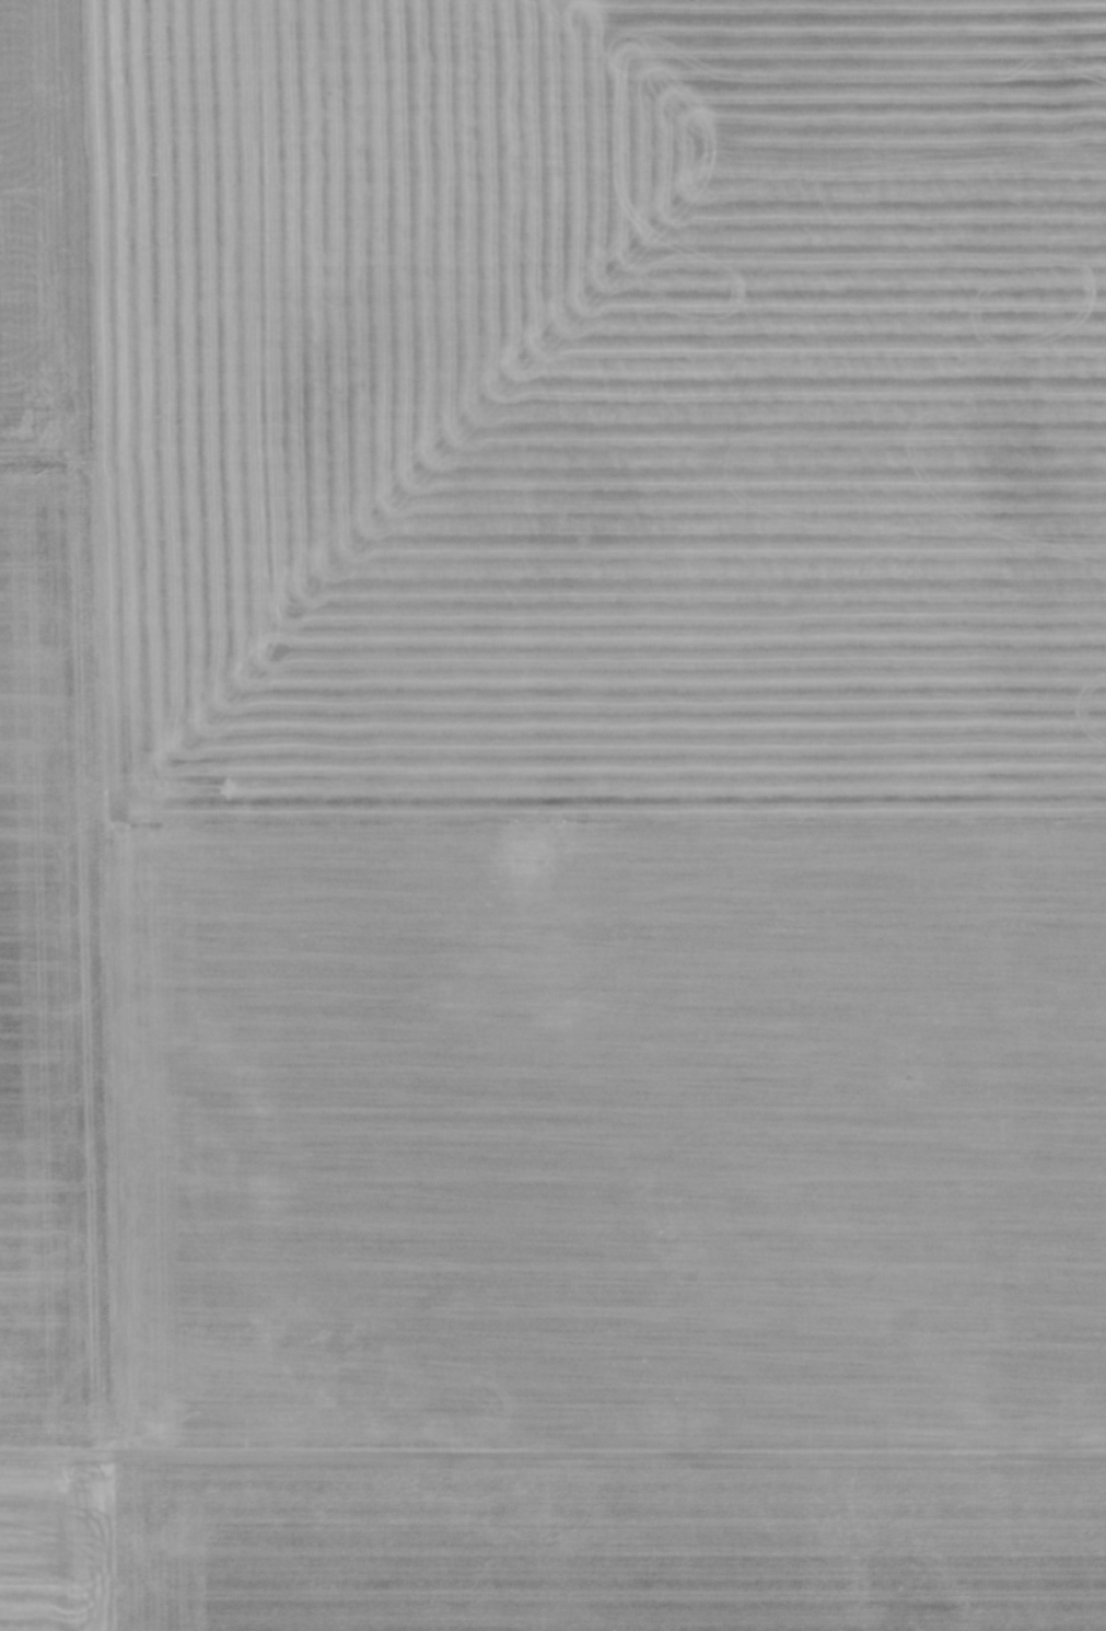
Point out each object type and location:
crop: (546, 737)

